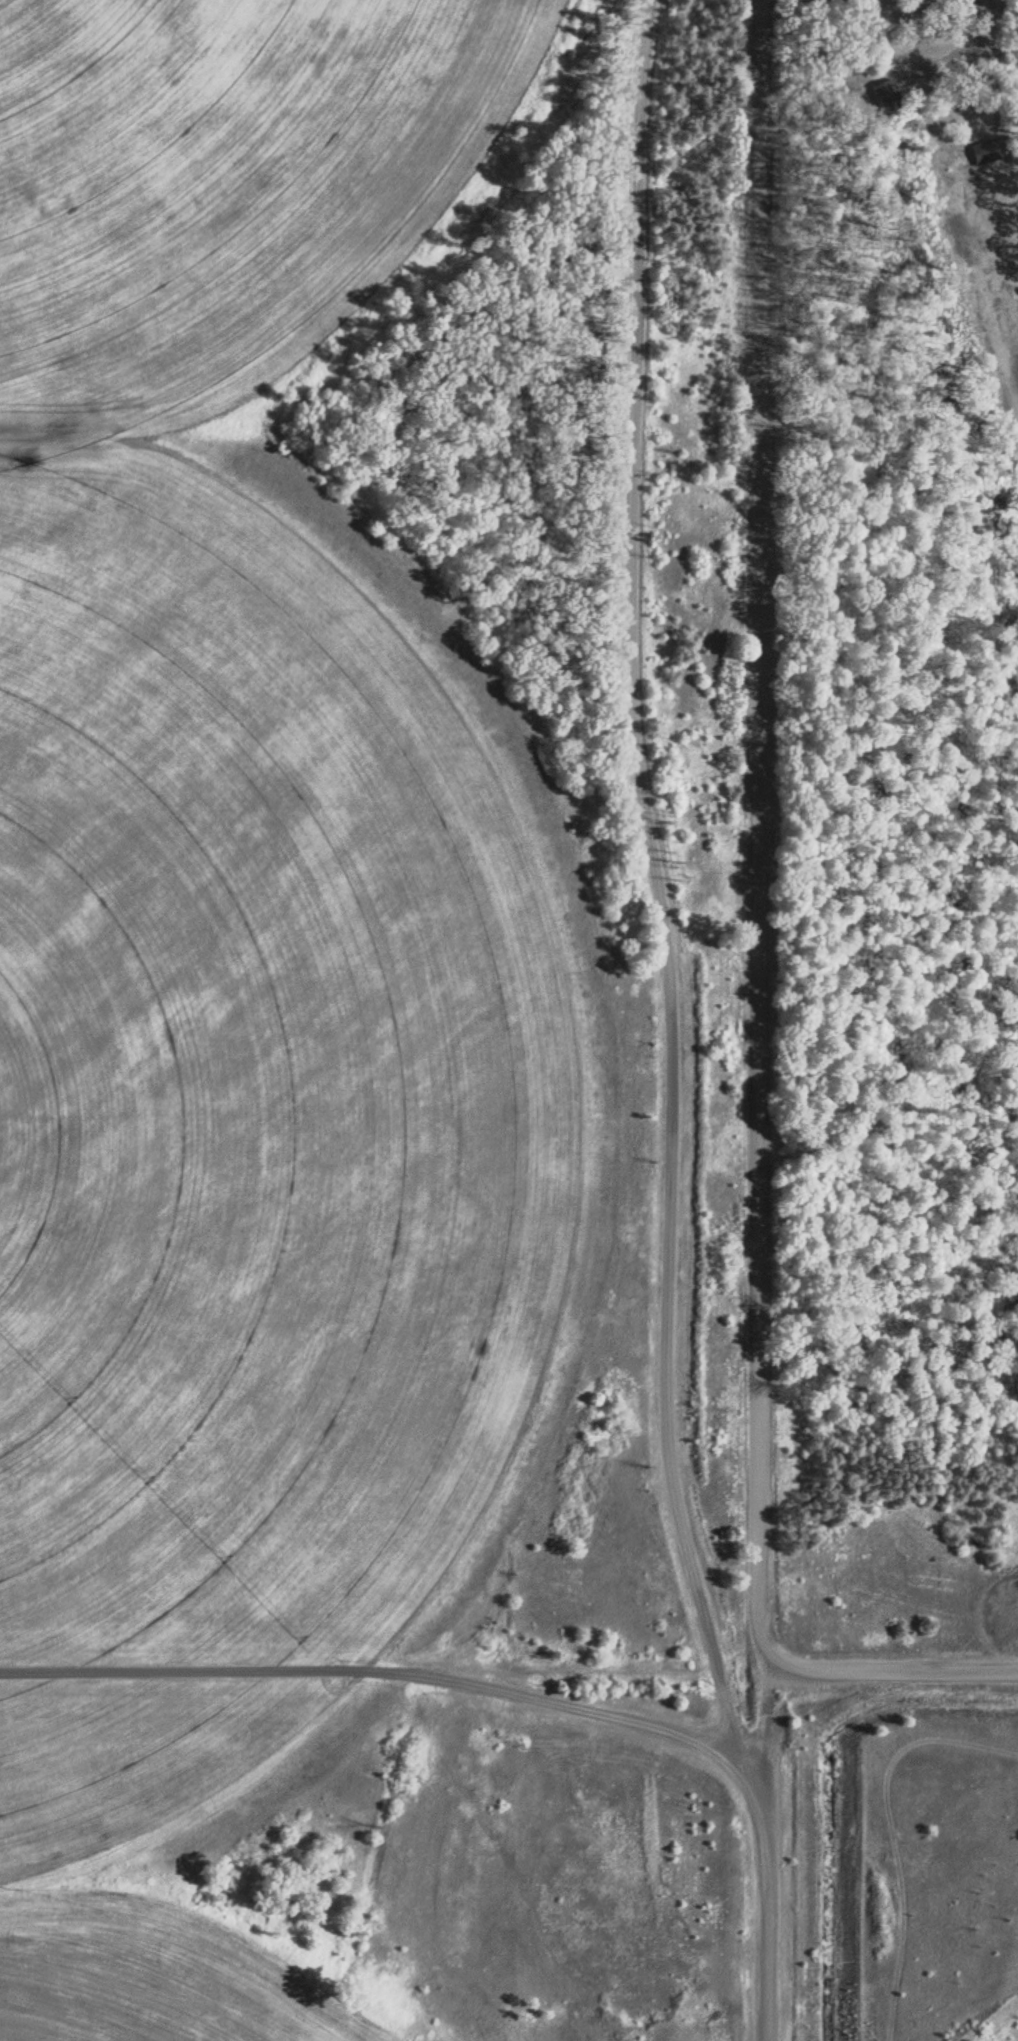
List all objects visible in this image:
road: (934, 58)
building: (887, 95)
building: (986, 150)
road: (761, 833)
wastewater plant: (379, 1076)
road: (891, 1663)
road: (474, 1684)
road: (766, 1925)

